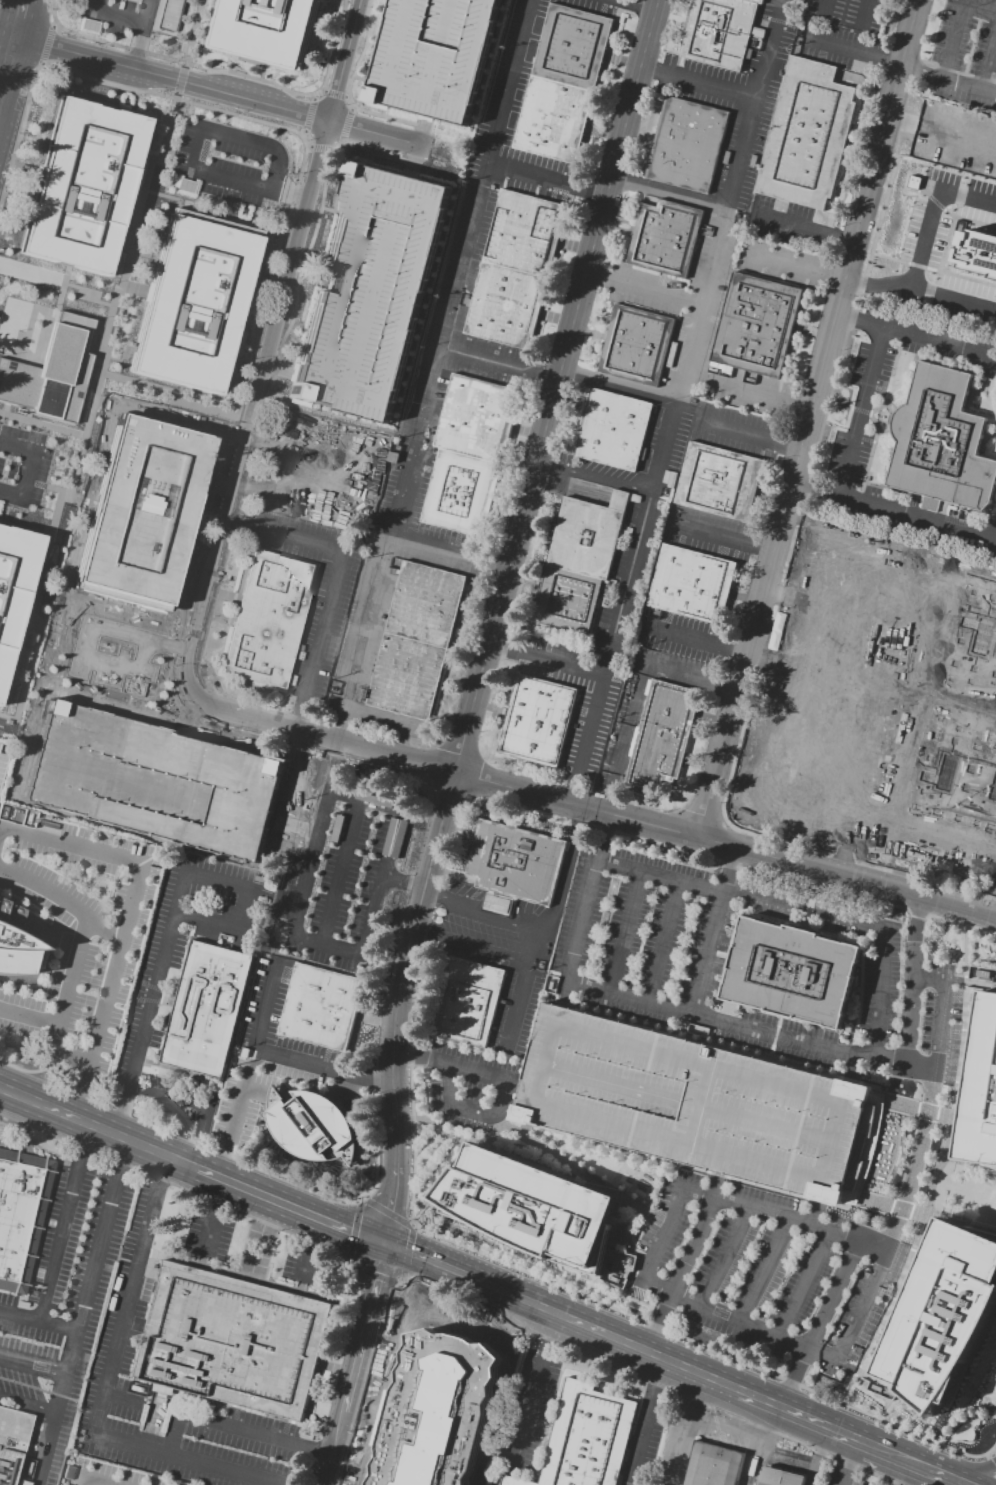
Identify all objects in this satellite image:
road: (638, 4)
road: (829, 7)
road: (24, 10)
road: (144, 10)
road: (864, 12)
road: (115, 14)
road: (956, 23)
building: (265, 29)
building: (719, 31)
road: (7, 33)
road: (136, 43)
road: (11, 45)
road: (46, 45)
parking lot: (964, 53)
building: (434, 56)
parking garage: (434, 56)
road: (988, 56)
road: (901, 65)
road: (222, 70)
road: (173, 78)
road: (179, 79)
building: (562, 83)
road: (698, 83)
road: (333, 93)
road: (308, 114)
road: (346, 124)
road: (377, 134)
building: (806, 135)
building: (687, 144)
road: (319, 147)
road: (188, 151)
road: (545, 179)
building: (81, 187)
road: (668, 195)
road: (793, 221)
building: (522, 231)
building: (665, 238)
road: (924, 250)
building: (977, 252)
road: (794, 267)
building: (369, 288)
parking garage: (369, 288)
road: (642, 289)
building: (193, 302)
building: (504, 305)
building: (756, 325)
road: (918, 334)
road: (272, 345)
building: (636, 345)
road: (497, 364)
road: (432, 370)
building: (52, 372)
road: (616, 387)
road: (747, 392)
road: (674, 400)
road: (861, 411)
road: (809, 418)
building: (614, 430)
road: (731, 432)
building: (941, 442)
building: (468, 455)
building: (157, 474)
road: (592, 477)
building: (719, 482)
road: (894, 512)
road: (723, 537)
road: (151, 550)
road: (447, 552)
building: (578, 562)
building: (127, 573)
road: (50, 580)
road: (502, 581)
building: (901, 581)
road: (332, 583)
building: (690, 584)
building: (13, 587)
road: (139, 594)
building: (268, 619)
building: (416, 640)
road: (697, 640)
building: (106, 657)
road: (543, 658)
road: (691, 678)
road: (40, 702)
building: (537, 721)
building: (662, 738)
building: (0, 745)
building: (801, 759)
building: (2, 765)
parking lot: (2, 765)
road: (615, 770)
building: (203, 778)
building: (943, 794)
road: (591, 808)
building: (515, 861)
building: (356, 862)
road: (133, 893)
road: (293, 894)
building: (497, 904)
road: (584, 909)
road: (802, 909)
road: (477, 915)
road: (170, 923)
road: (541, 925)
road: (623, 928)
road: (103, 930)
road: (663, 939)
building: (13, 941)
road: (709, 942)
road: (469, 945)
road: (77, 950)
road: (342, 953)
building: (790, 972)
road: (911, 993)
building: (468, 1002)
building: (321, 1007)
building: (205, 1008)
road: (735, 1025)
road: (63, 1049)
road: (321, 1065)
road: (457, 1067)
building: (981, 1090)
road: (79, 1092)
road: (478, 1093)
road: (237, 1096)
road: (270, 1096)
road: (197, 1104)
building: (700, 1104)
parking lot: (700, 1104)
road: (468, 1109)
road: (174, 1113)
building: (313, 1126)
road: (947, 1128)
road: (98, 1131)
road: (508, 1143)
road: (217, 1160)
road: (957, 1161)
road: (620, 1168)
road: (161, 1171)
road: (580, 1172)
road: (911, 1176)
road: (181, 1187)
road: (606, 1190)
road: (219, 1194)
road: (356, 1200)
road: (725, 1200)
road: (291, 1206)
road: (390, 1206)
building: (530, 1207)
road: (388, 1209)
road: (926, 1209)
building: (20, 1216)
road: (963, 1223)
road: (63, 1225)
road: (922, 1226)
road: (210, 1229)
road: (351, 1229)
road: (313, 1231)
traffic signals: (387, 1243)
road: (872, 1243)
road: (407, 1251)
road: (722, 1255)
road: (304, 1261)
road: (685, 1263)
road: (436, 1264)
road: (762, 1268)
road: (376, 1276)
road: (399, 1280)
road: (802, 1282)
road: (400, 1285)
road: (604, 1305)
road: (125, 1306)
road: (82, 1314)
building: (941, 1314)
road: (38, 1322)
road: (364, 1326)
road: (549, 1333)
road: (611, 1337)
road: (557, 1342)
building: (232, 1343)
road: (33, 1365)
road: (656, 1376)
road: (530, 1404)
road: (27, 1405)
building: (454, 1417)
road: (800, 1418)
road: (723, 1428)
road: (234, 1430)
road: (686, 1430)
road: (174, 1432)
building: (587, 1438)
road: (639, 1439)
building: (12, 1443)
road: (752, 1443)
road: (311, 1446)
road: (766, 1446)
road: (333, 1447)
road: (992, 1448)
road: (186, 1453)
road: (885, 1453)
road: (816, 1454)
road: (993, 1457)
road: (285, 1462)
road: (846, 1462)
building: (711, 1466)
road: (915, 1466)
road: (961, 1471)
road: (905, 1473)
building: (779, 1477)
road: (935, 1478)
road: (943, 1478)
road: (340, 1479)
road: (90, 1481)
building: (22, 1482)
building: (513, 1482)
road: (809, 1483)

